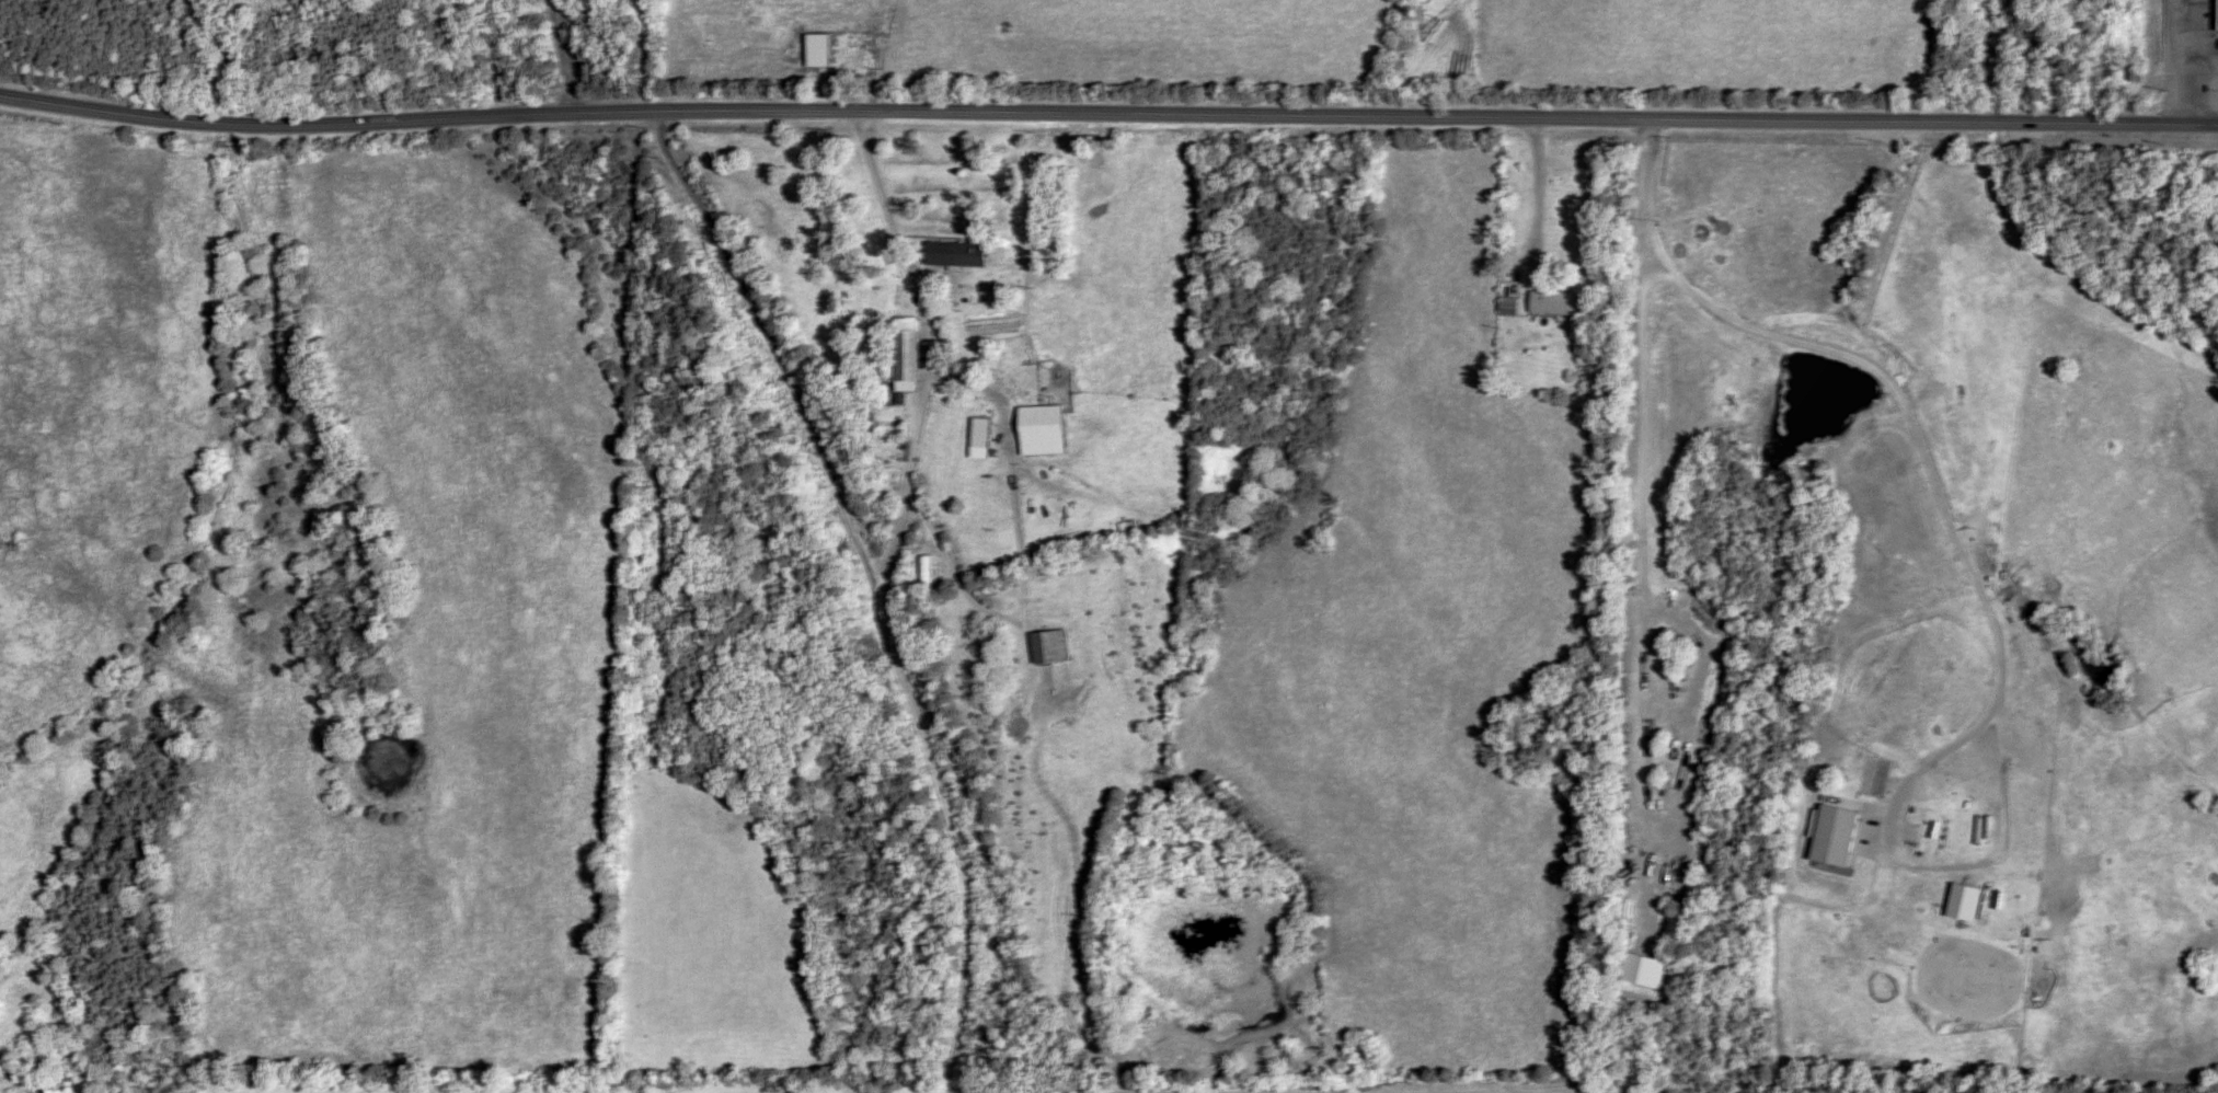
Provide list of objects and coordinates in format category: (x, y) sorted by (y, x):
road: (586, 56)
road: (1107, 113)
building: (962, 253)
building: (1555, 301)
building: (1512, 306)
building: (913, 347)
building: (1046, 424)
road: (907, 508)
building: (1053, 647)

